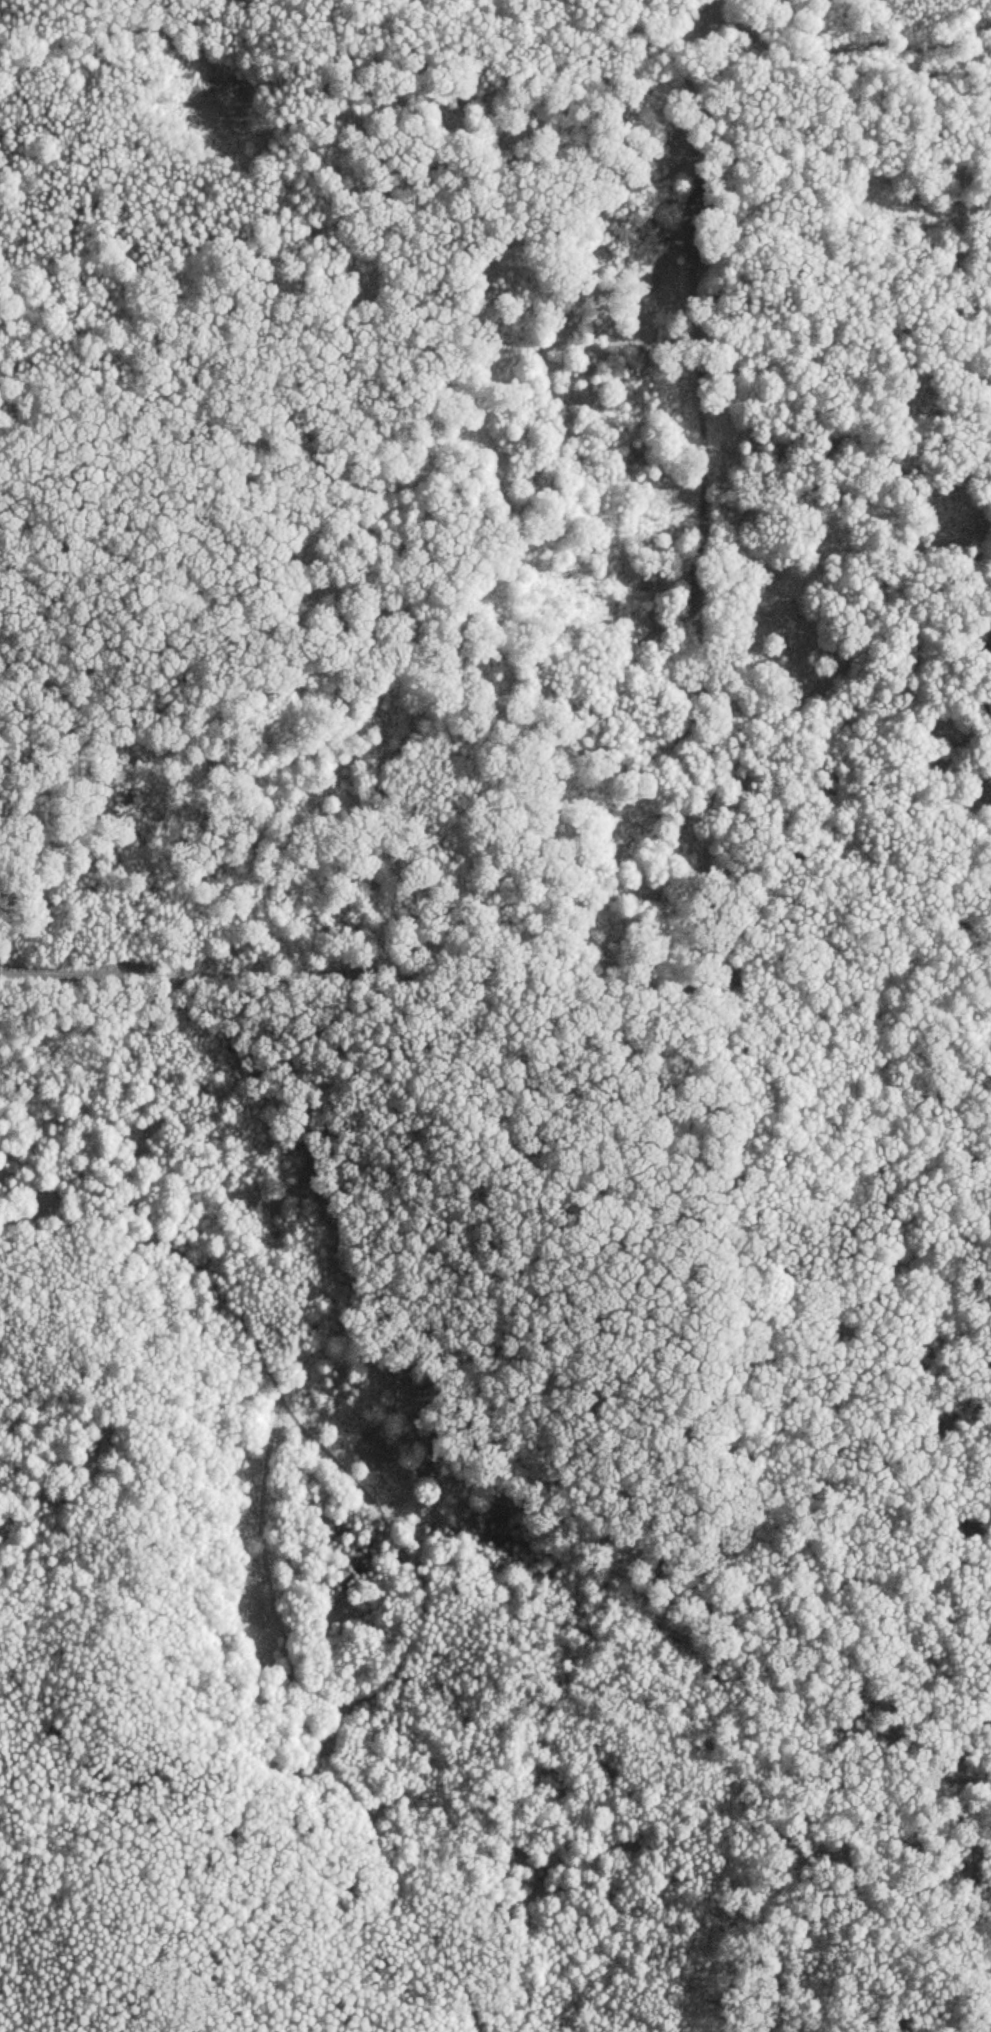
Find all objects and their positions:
road: (263, 1545)
road: (412, 1563)

